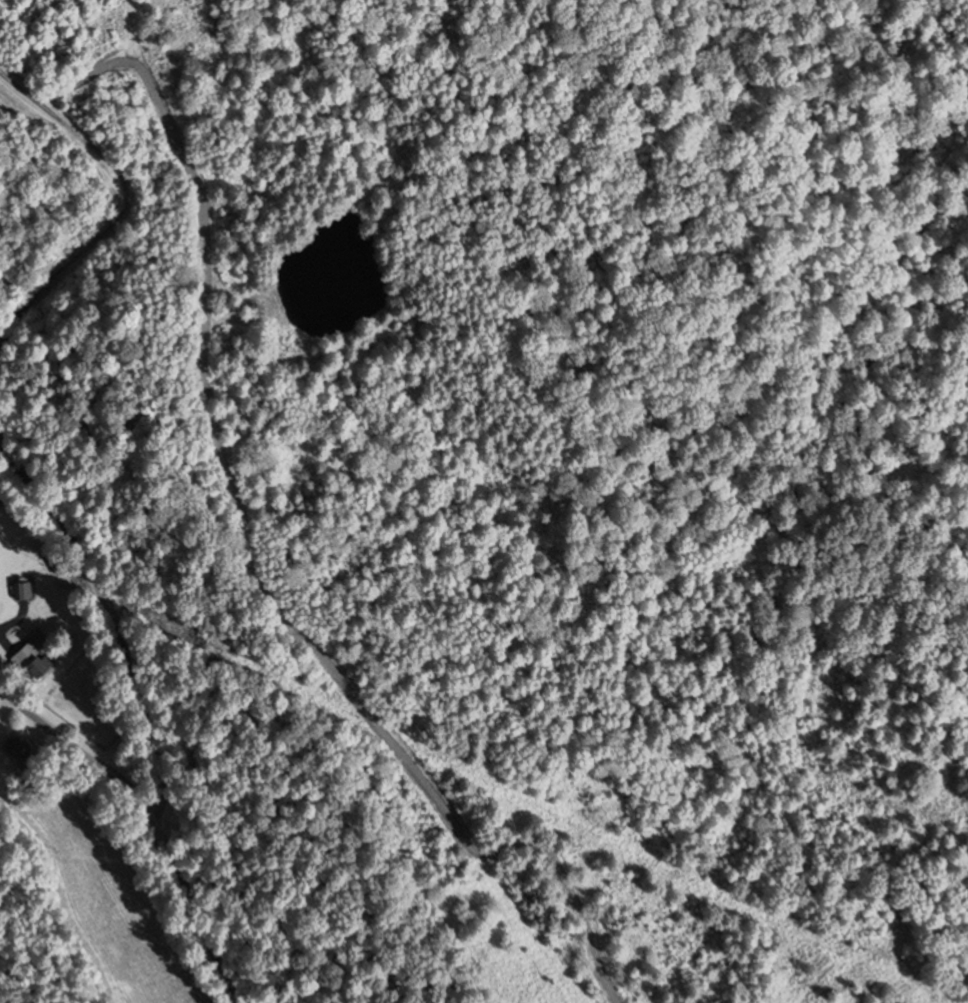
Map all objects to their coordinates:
road: (154, 817)

